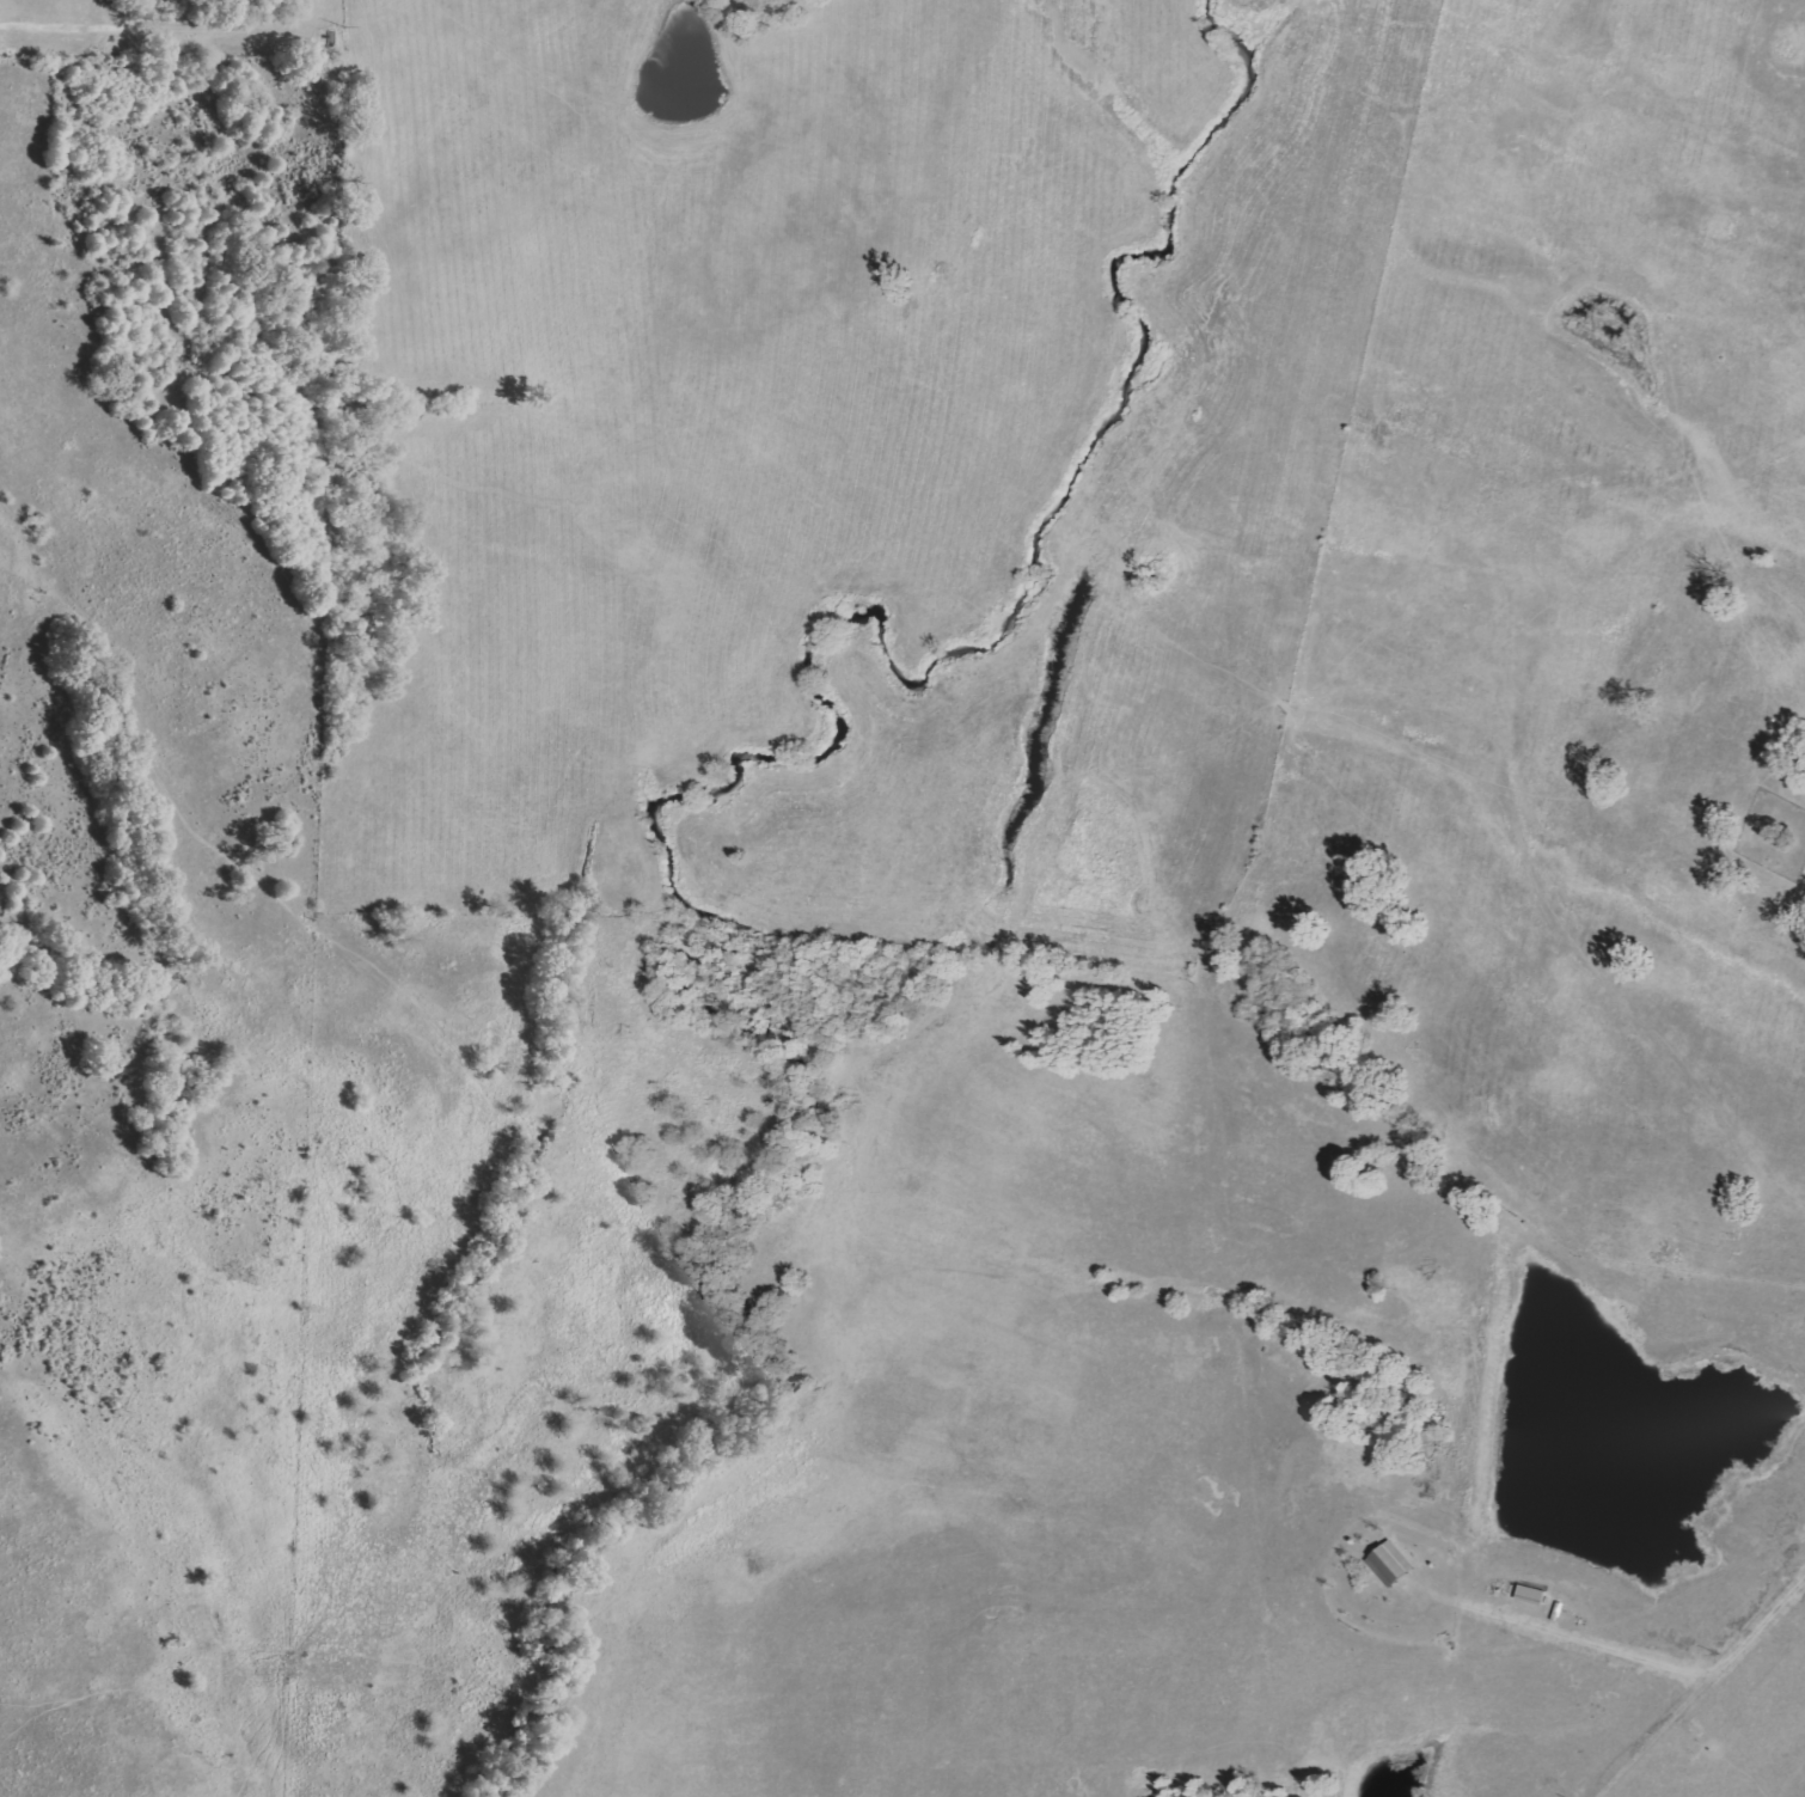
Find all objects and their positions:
park: (1774, 835)
building: (1390, 1564)

